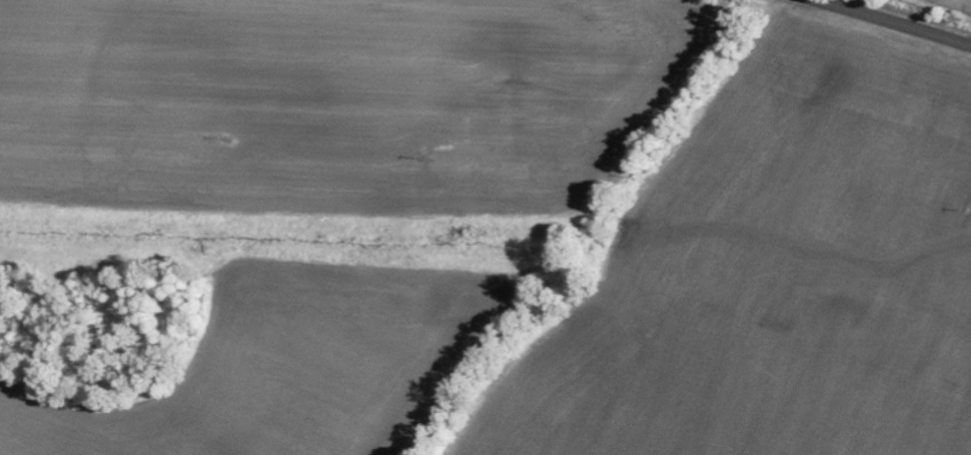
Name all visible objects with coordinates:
road: (894, 22)

